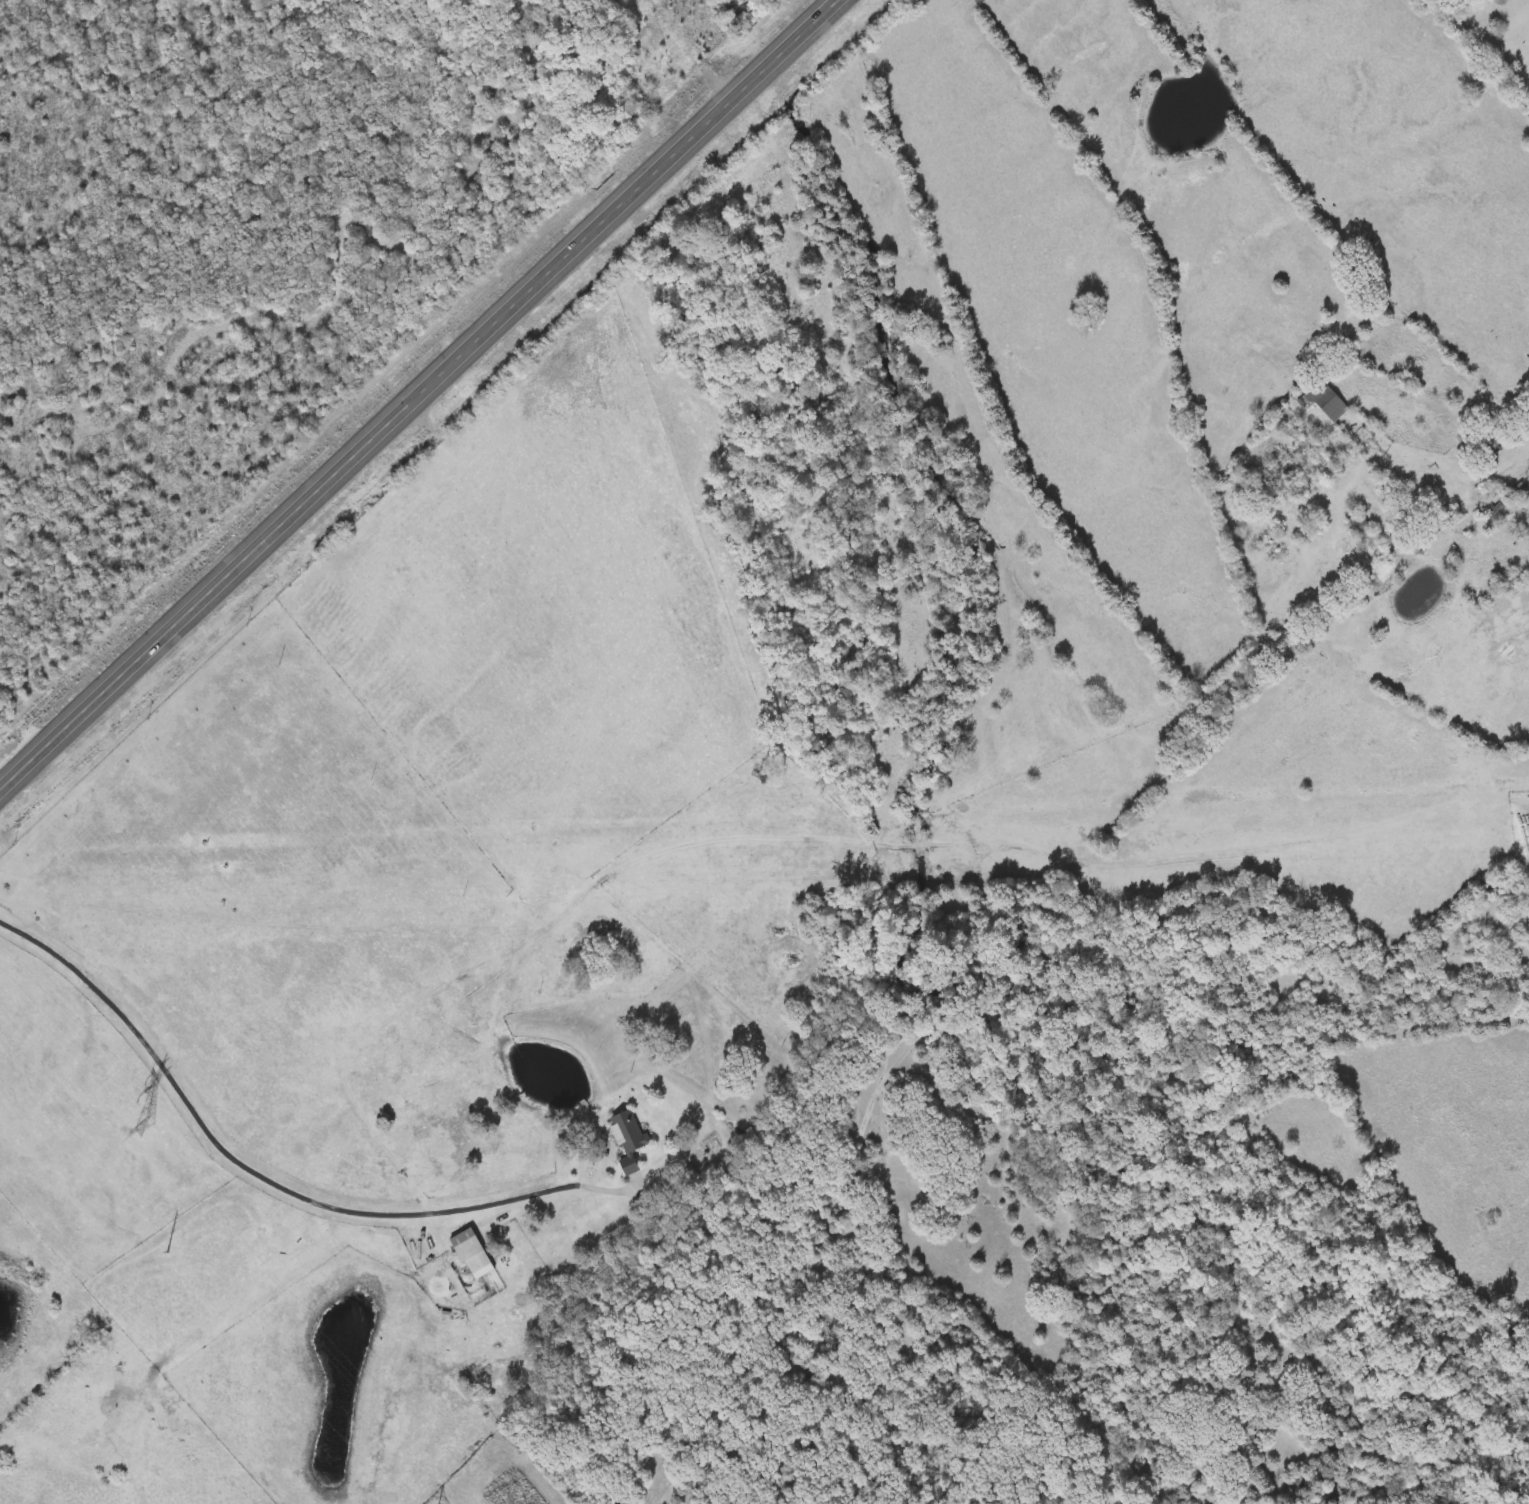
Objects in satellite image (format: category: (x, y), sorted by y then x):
road: (1151, 56)
road: (1467, 61)
road: (1448, 361)
road: (419, 397)
road: (1457, 398)
building: (1324, 399)
road: (1488, 474)
building: (1359, 525)
building: (338, 1000)
power tower: (144, 1127)
building: (631, 1137)
road: (247, 1160)
building: (473, 1252)

